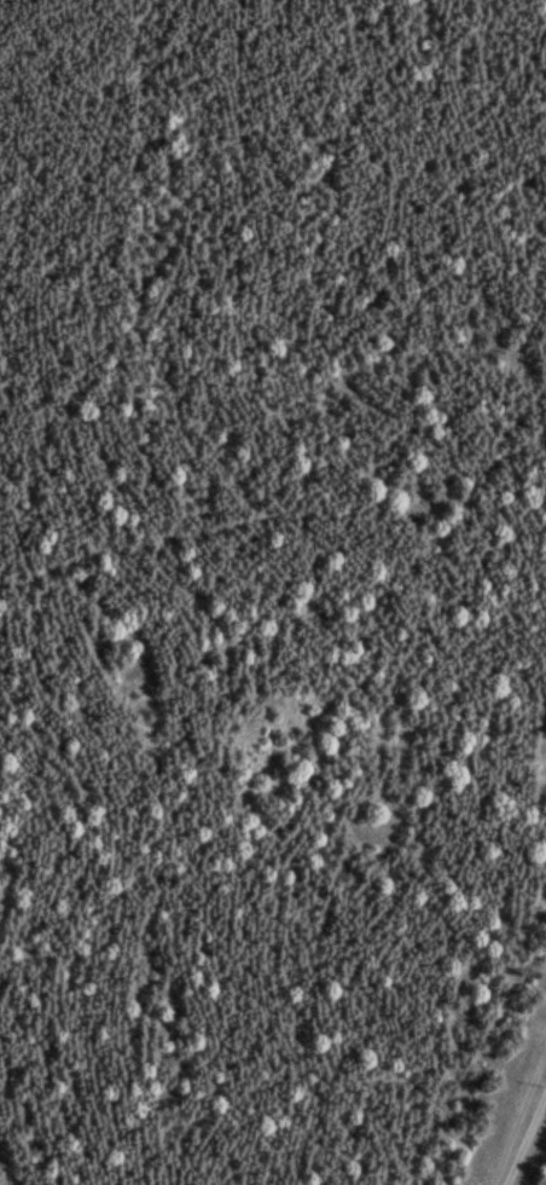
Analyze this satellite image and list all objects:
road: (525, 1135)

